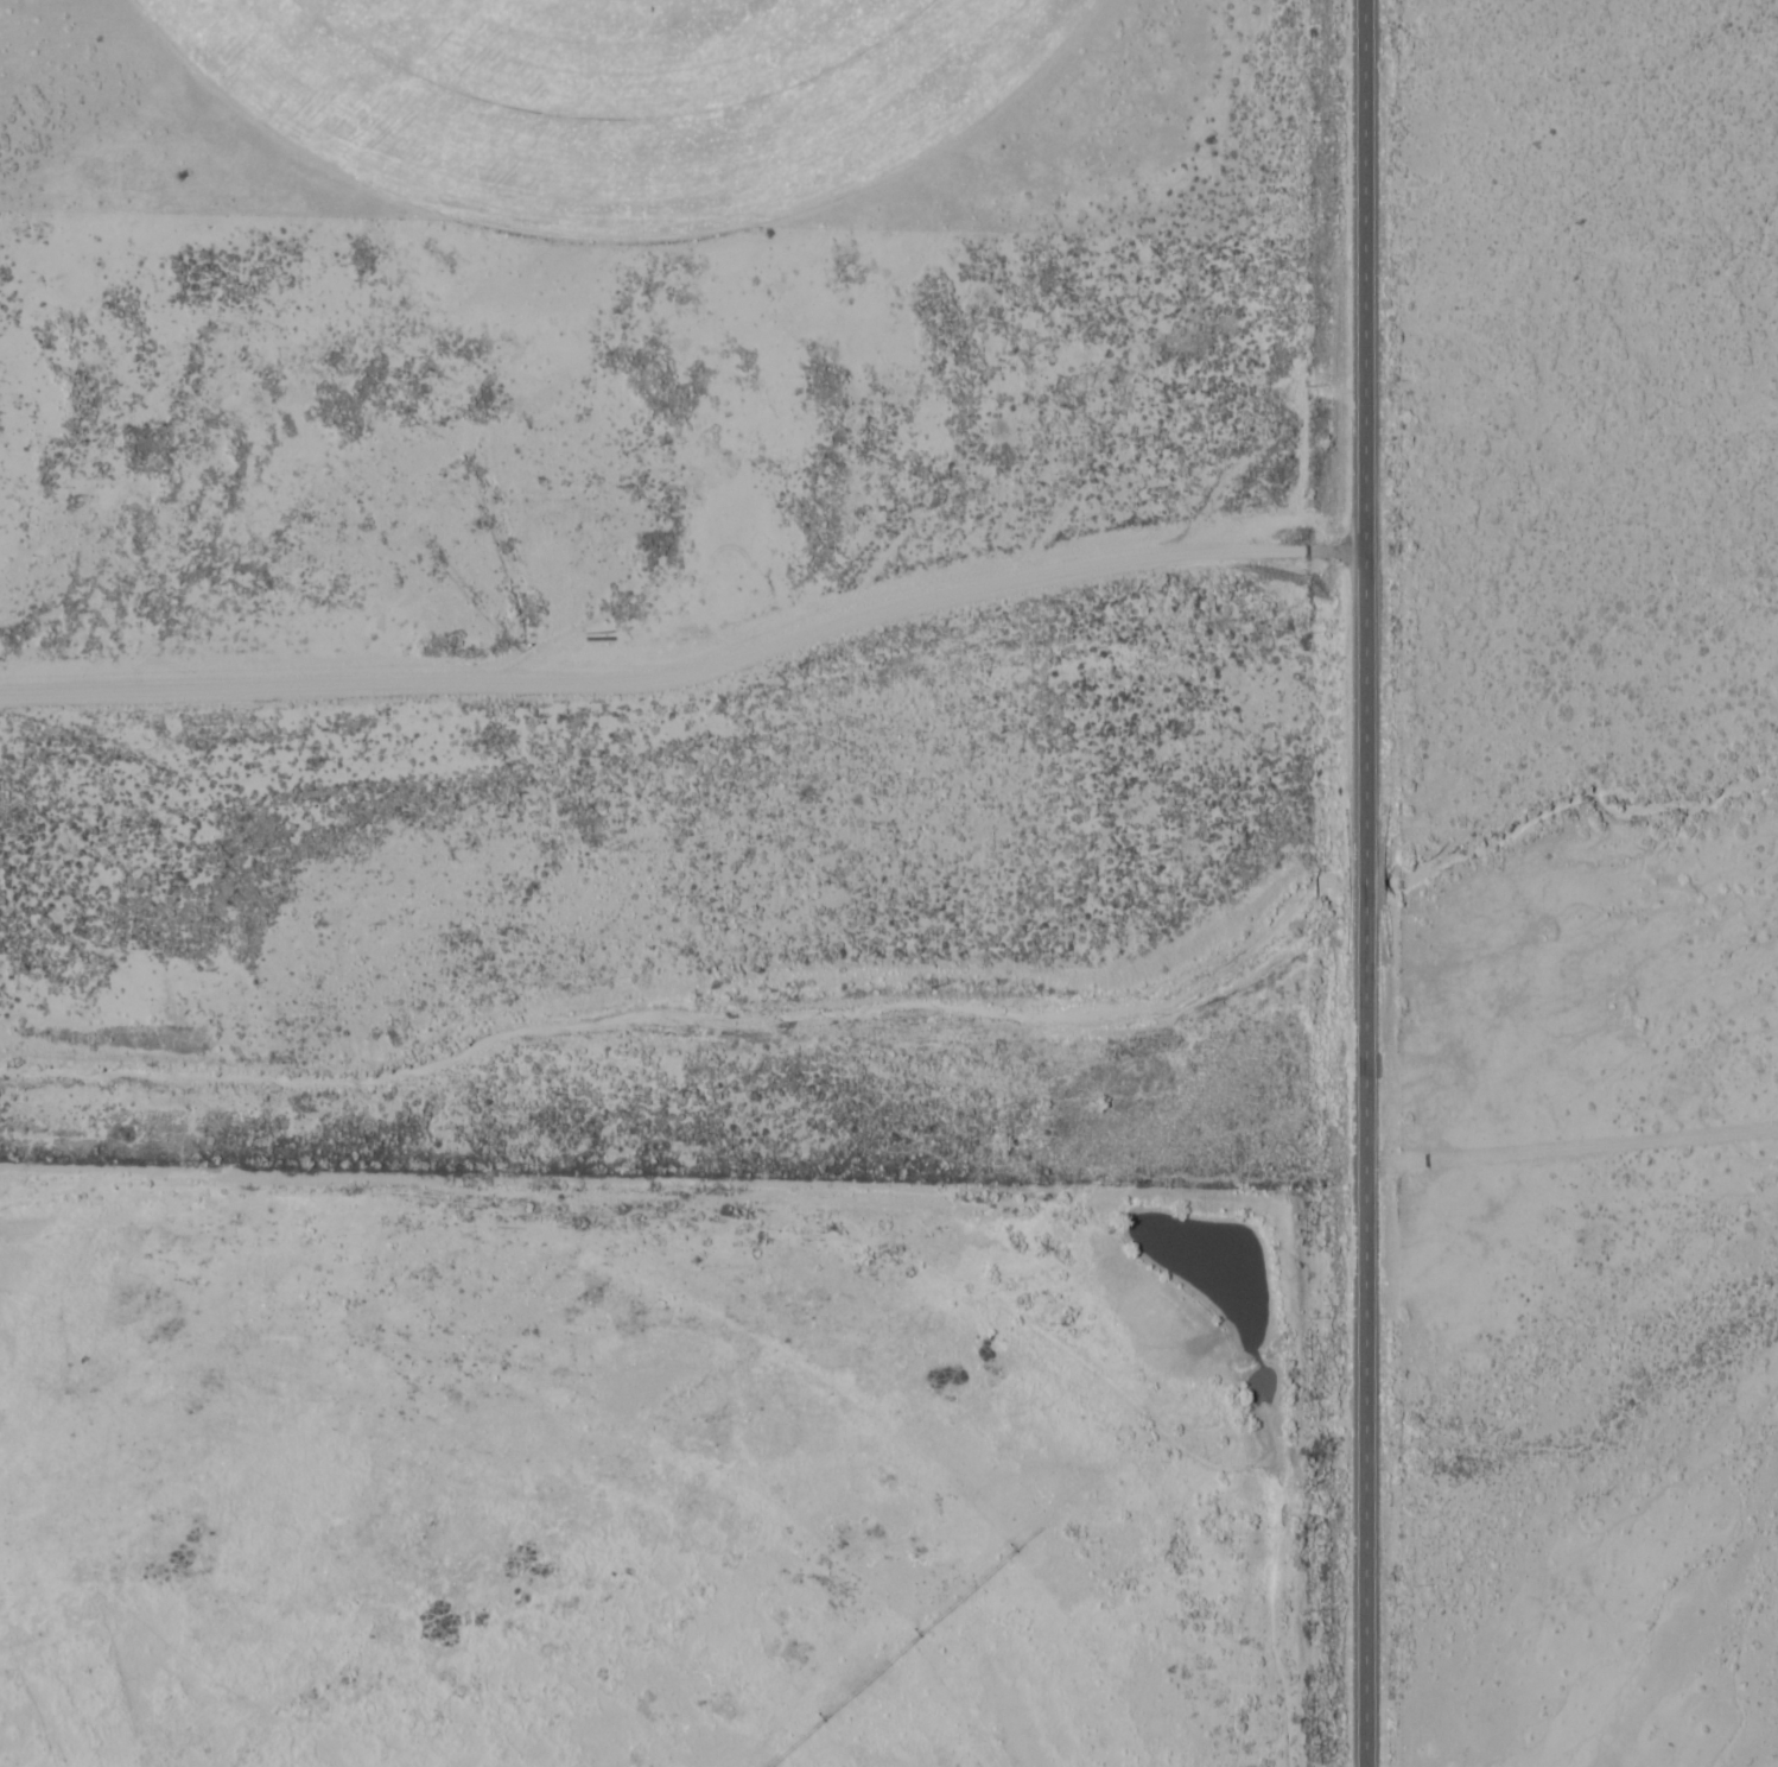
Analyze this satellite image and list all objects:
crop: (628, 96)
road: (685, 672)
road: (1359, 883)
road: (1569, 1151)
crop: (496, 1524)

